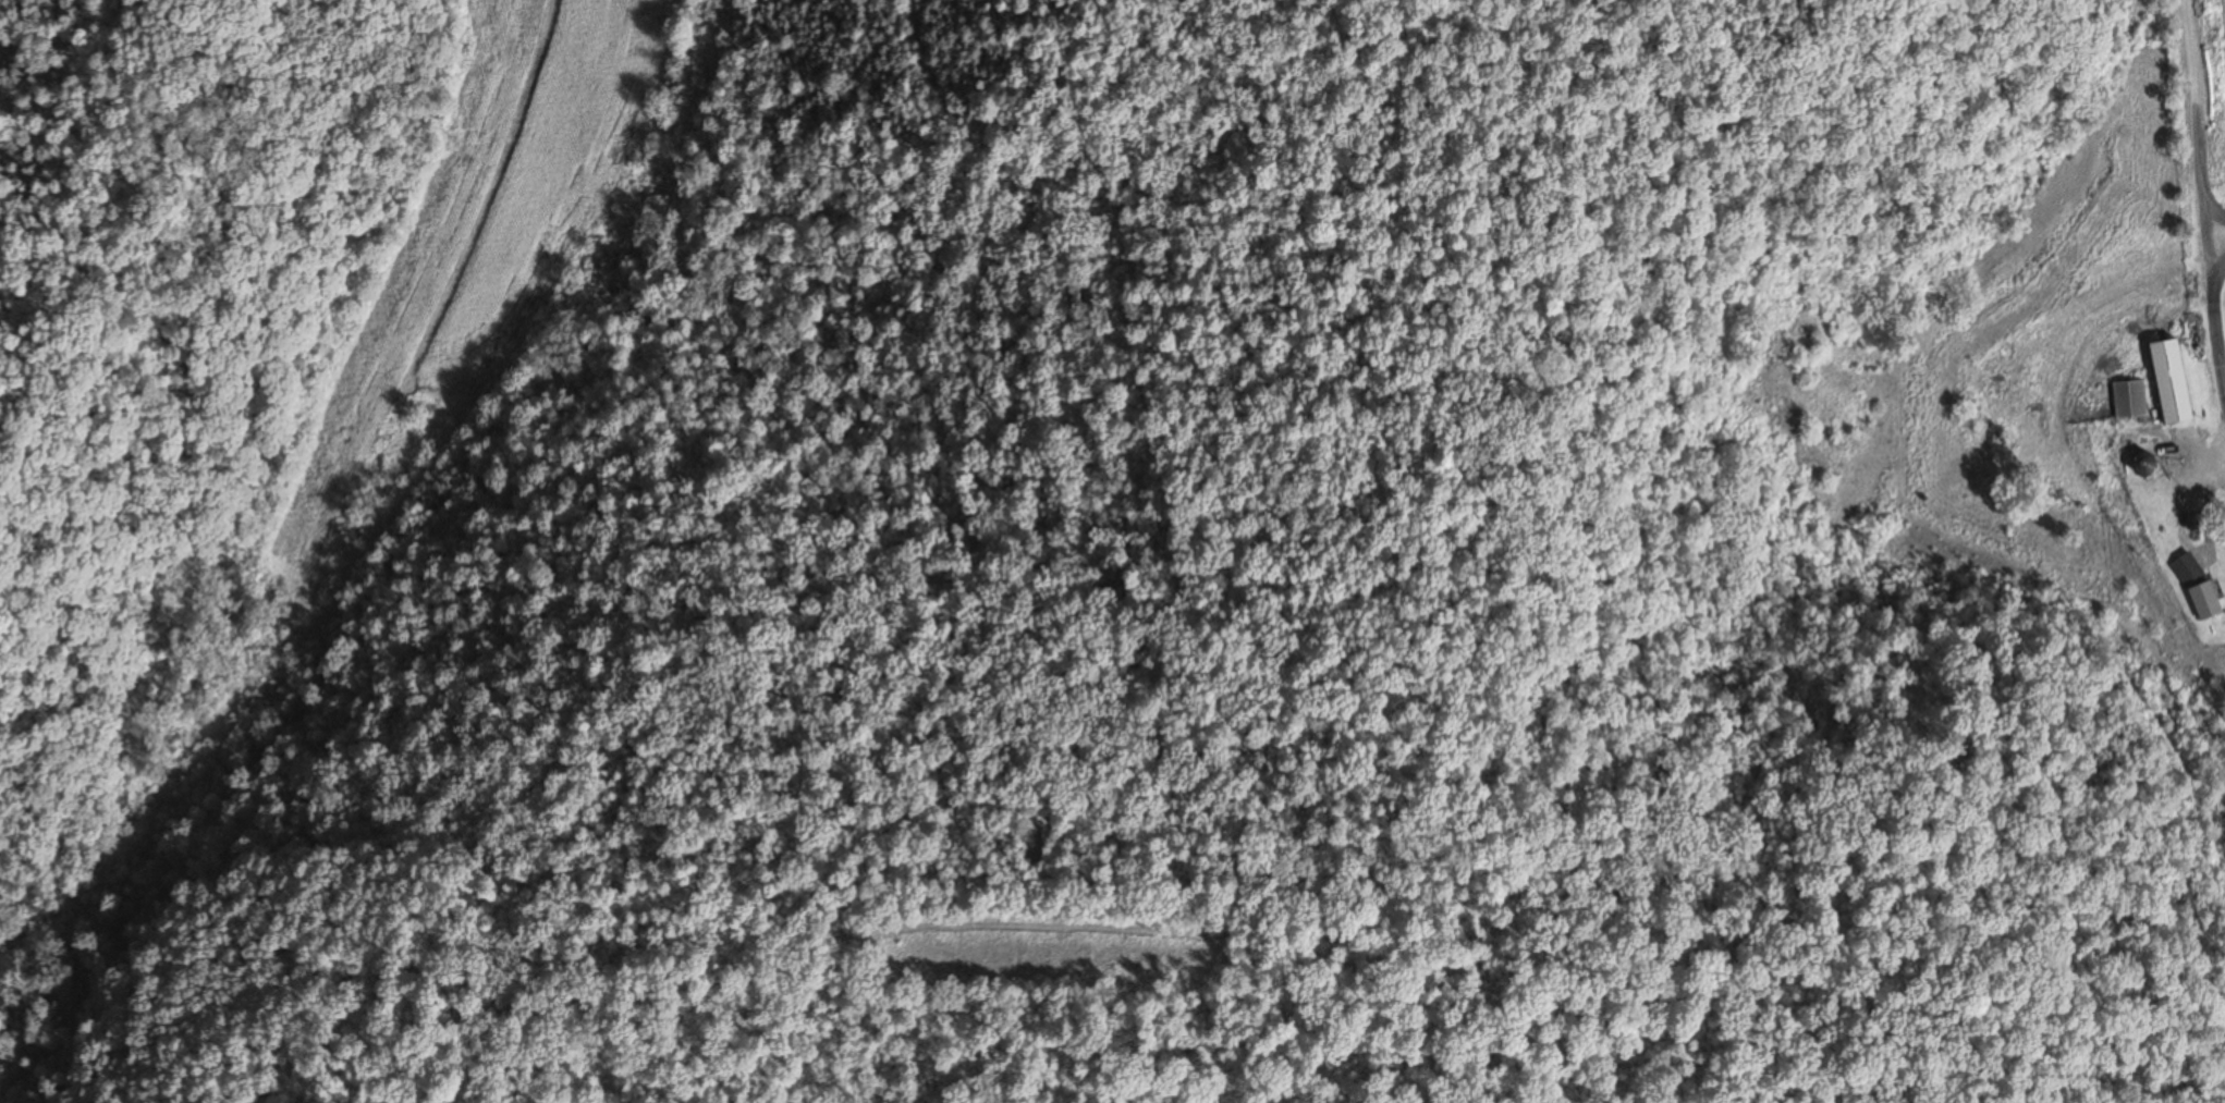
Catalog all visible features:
road: (2193, 123)
road: (2214, 247)
road: (2213, 332)
building: (2166, 381)
building: (2127, 400)
building: (2185, 569)
building: (2202, 601)

